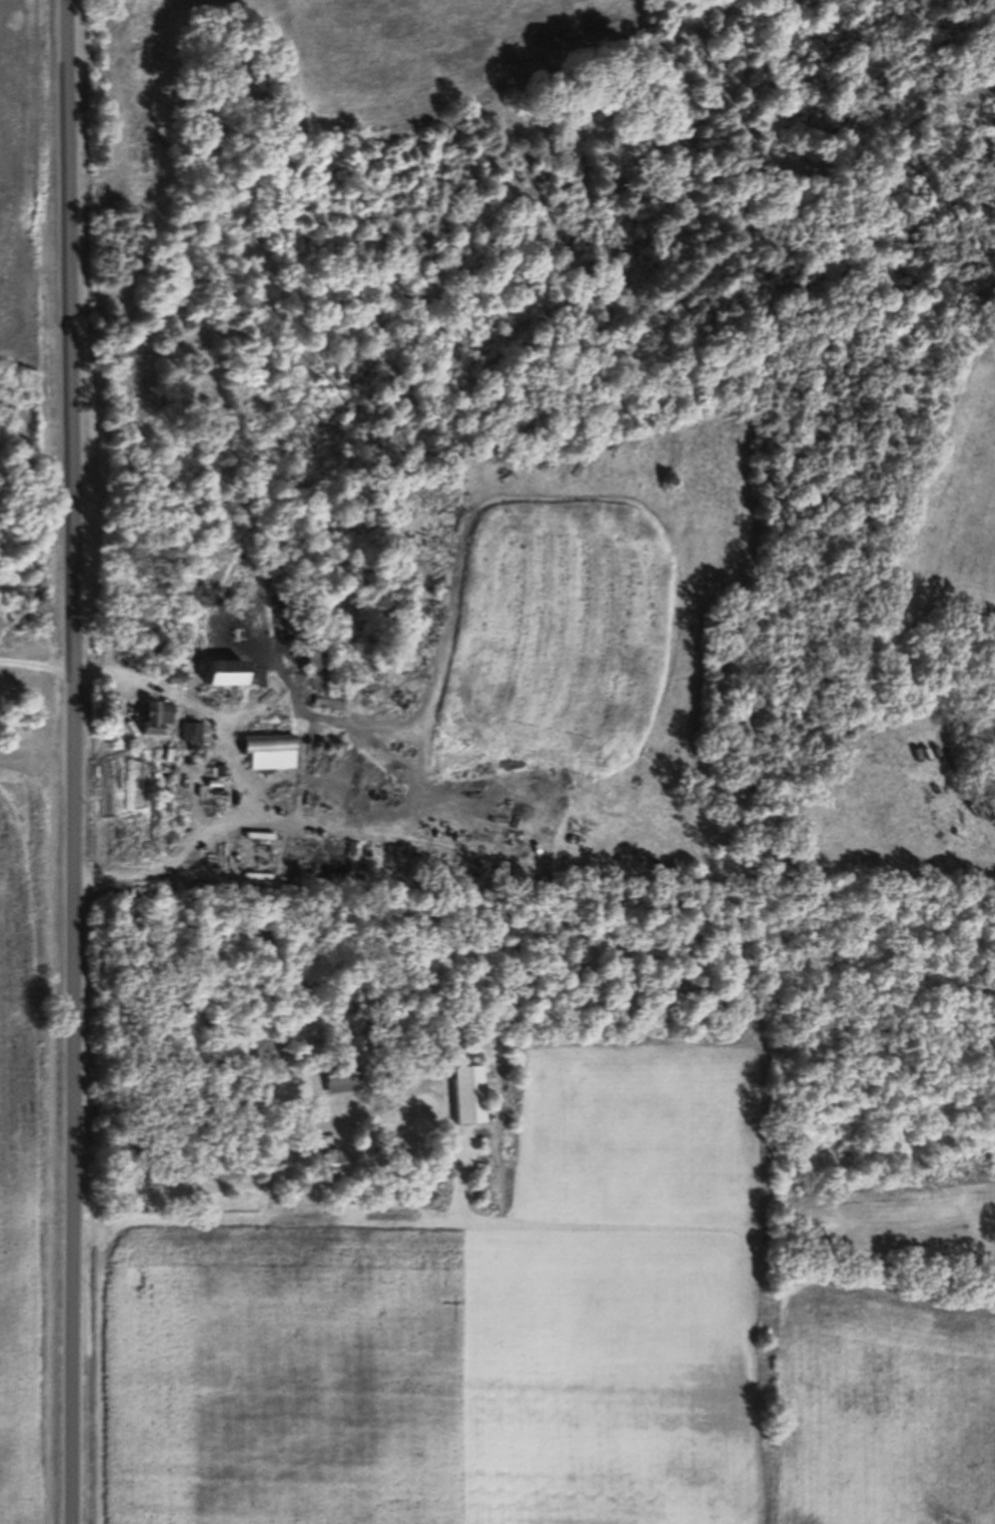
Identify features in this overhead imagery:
road: (482, 461)
building: (225, 680)
building: (313, 690)
building: (153, 725)
building: (267, 749)
road: (76, 761)
building: (338, 1084)
building: (466, 1103)
road: (220, 1179)

